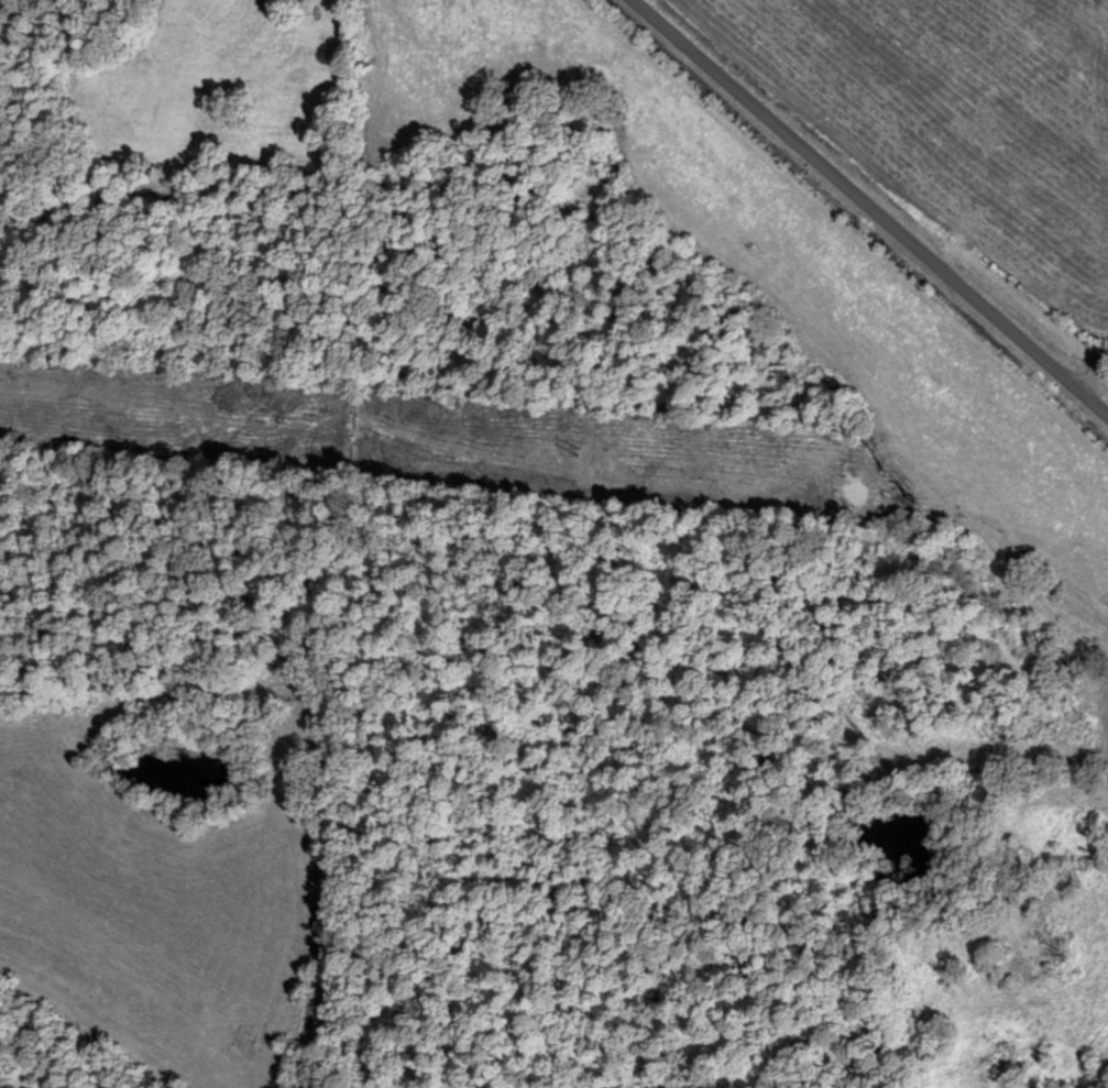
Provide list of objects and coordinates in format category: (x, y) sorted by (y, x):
road: (870, 208)
road: (1093, 377)

